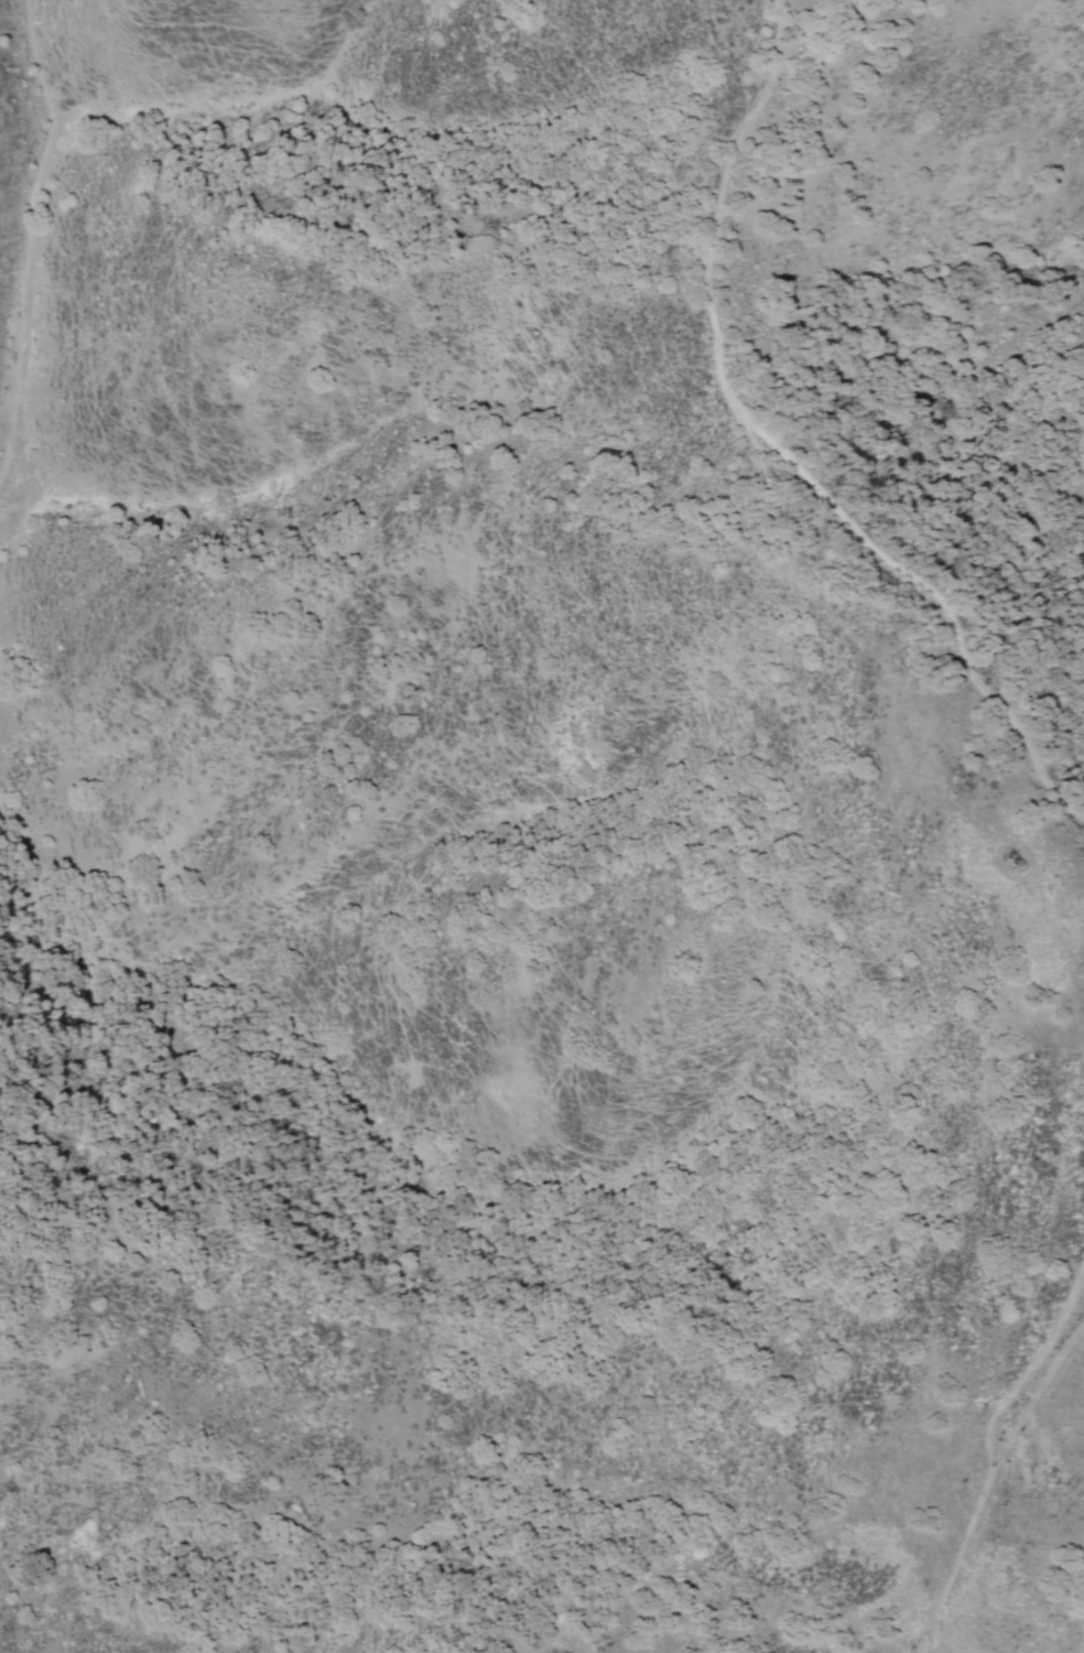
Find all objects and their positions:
road: (779, 446)
road: (985, 1481)

